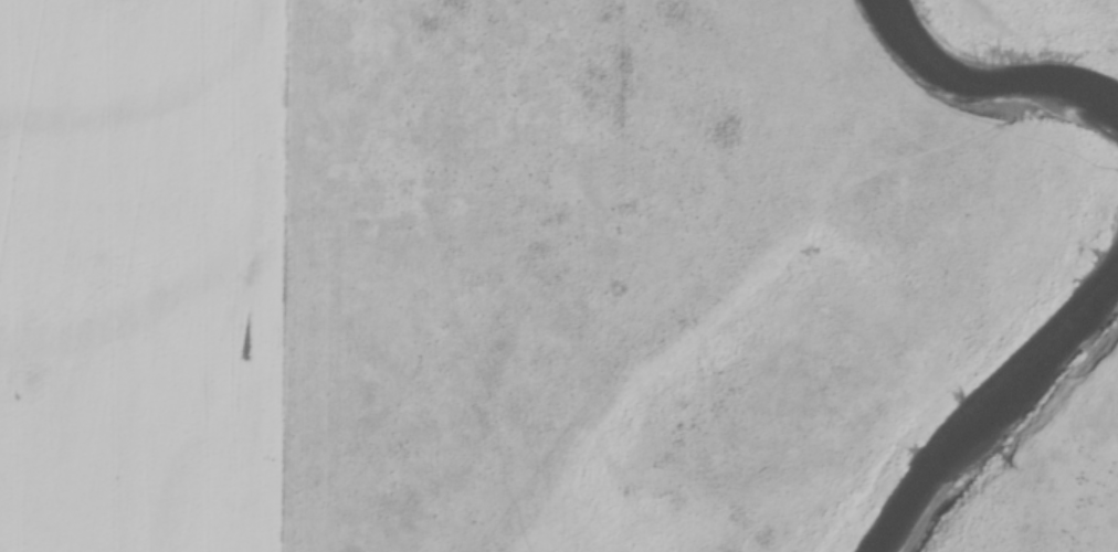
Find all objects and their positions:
river: (989, 74)
river: (998, 407)

